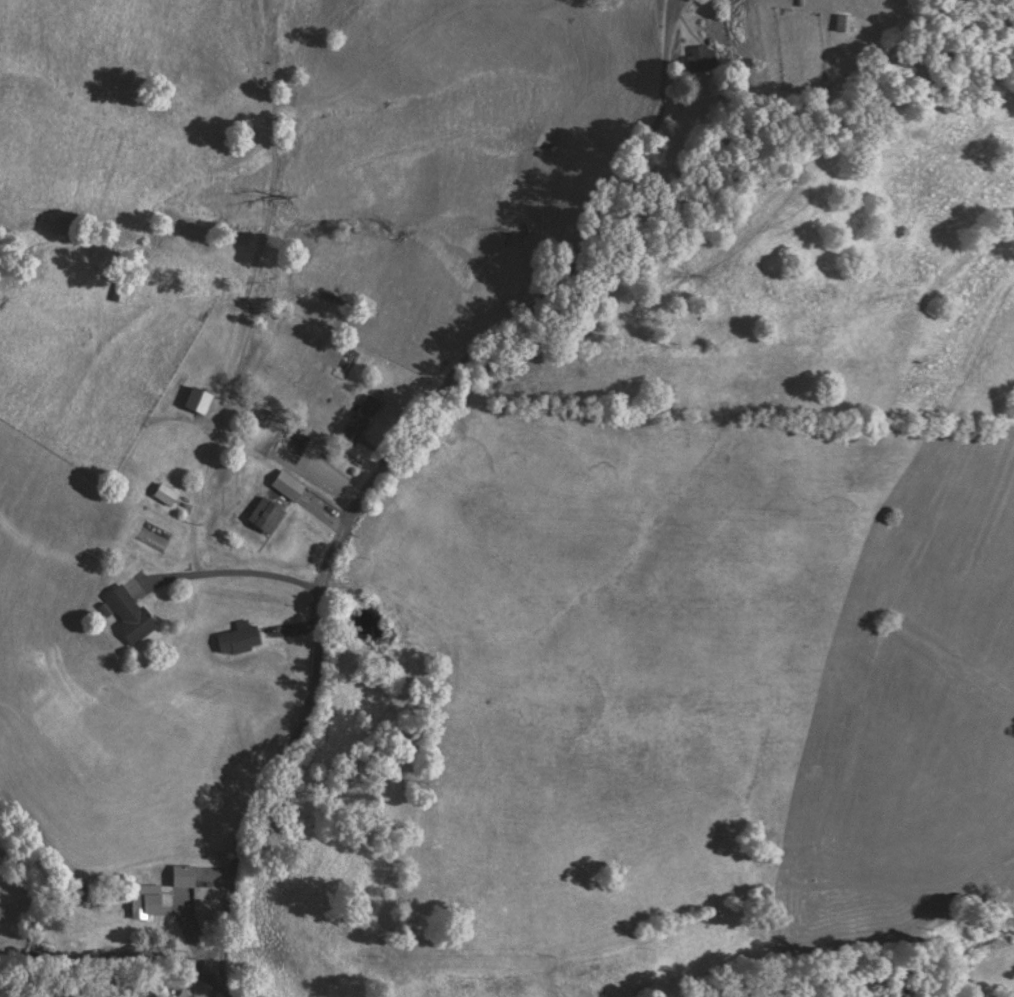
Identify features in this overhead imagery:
building: (845, 26)
building: (199, 404)
building: (265, 420)
building: (362, 422)
road: (397, 451)
building: (289, 489)
building: (266, 518)
building: (130, 616)
building: (185, 878)
building: (85, 896)
building: (146, 902)
road: (221, 964)
road: (100, 968)
road: (982, 990)
road: (986, 993)
building: (185, 995)

